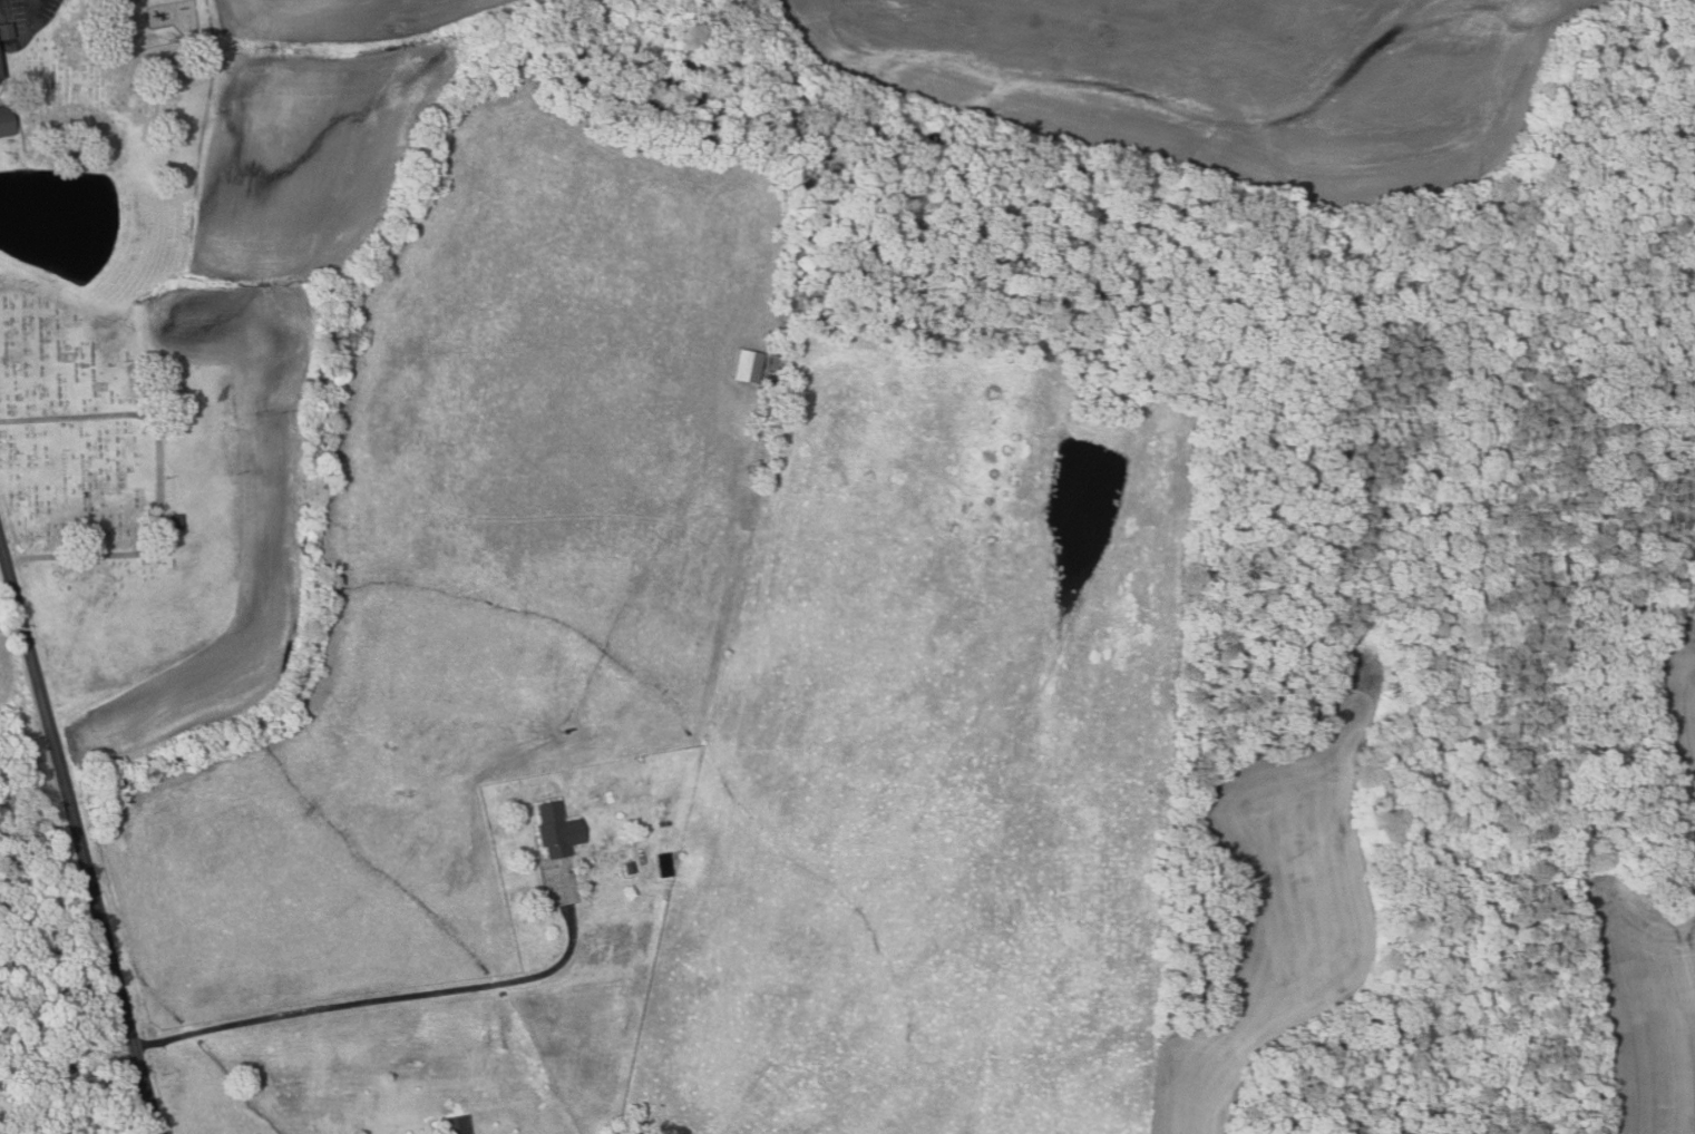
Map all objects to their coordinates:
road: (36, 11)
building: (8, 30)
building: (1, 67)
building: (0, 78)
crop: (1226, 79)
building: (8, 120)
building: (747, 366)
road: (160, 481)
park: (113, 488)
building: (178, 521)
crop: (4, 677)
building: (555, 830)
road: (78, 839)
building: (662, 864)
building: (629, 868)
crop: (1283, 895)
crop: (1654, 933)
road: (398, 997)
building: (452, 1125)

